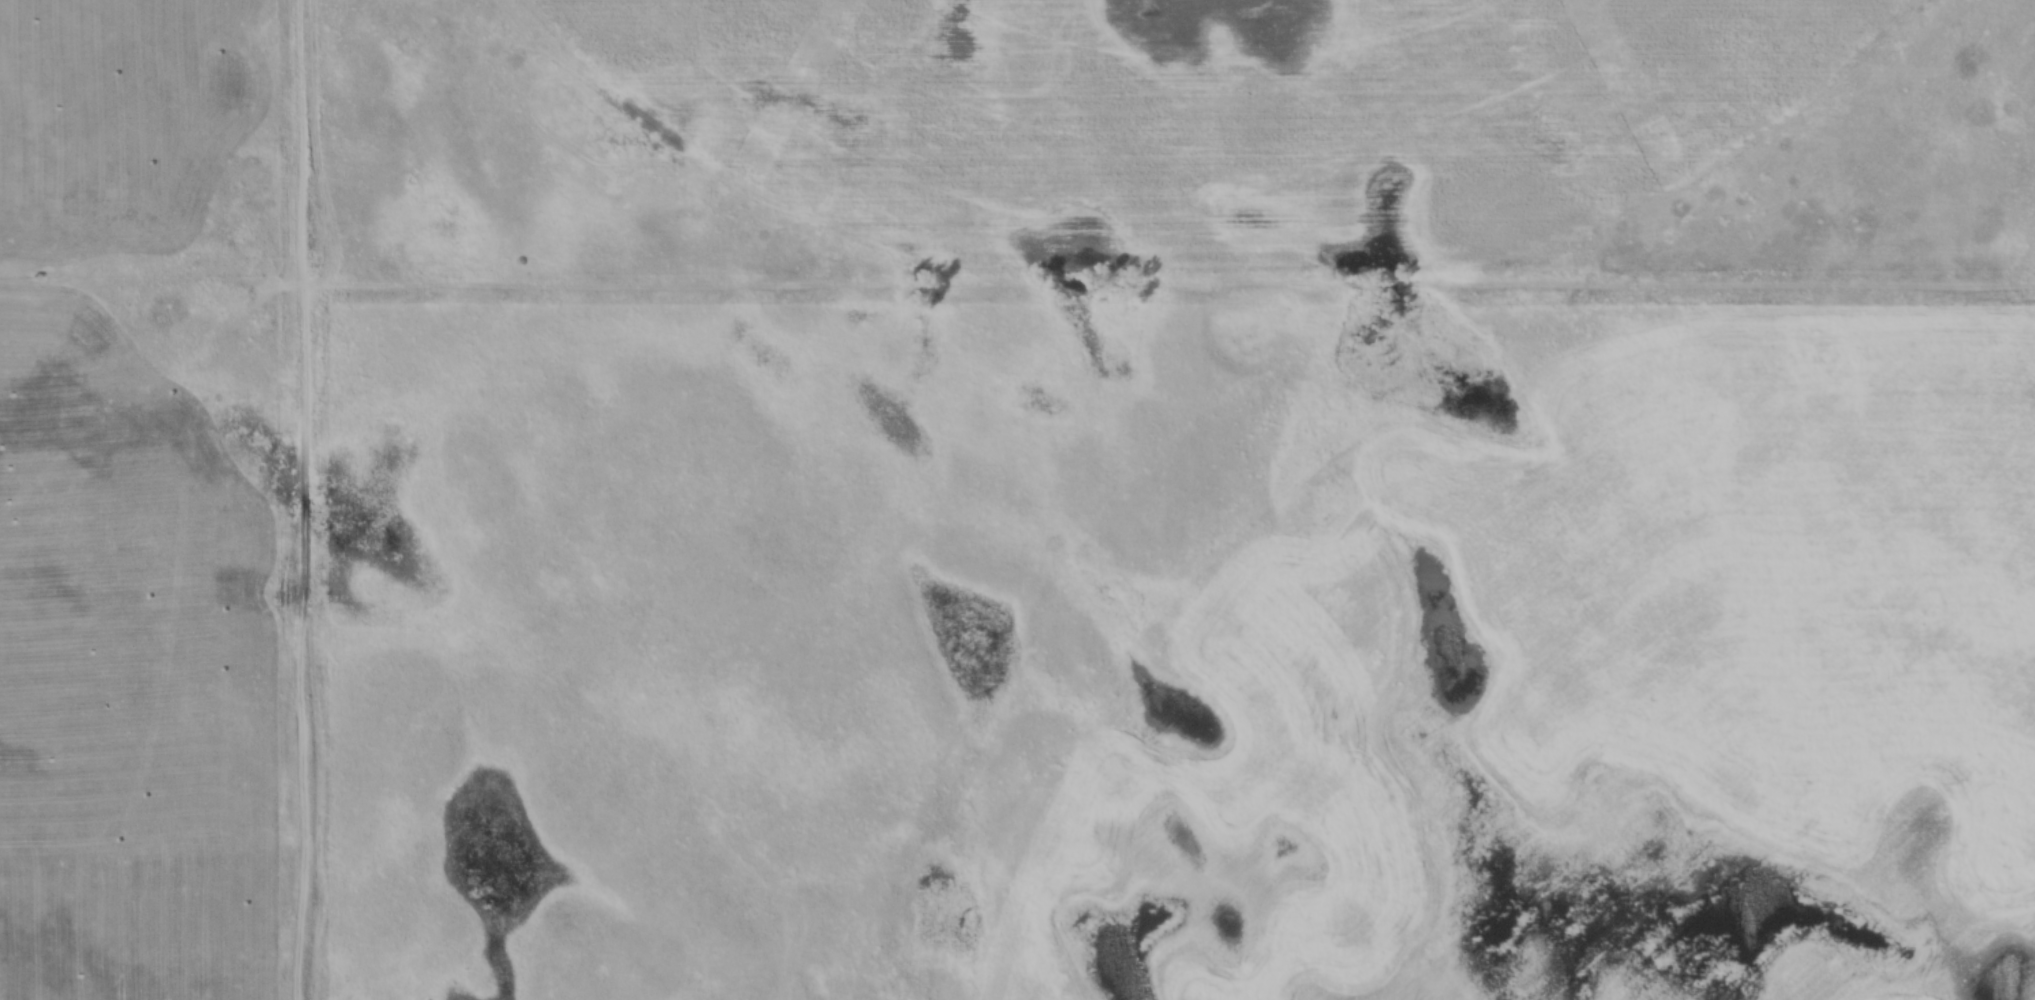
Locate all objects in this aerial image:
road: (1168, 288)
road: (306, 500)

